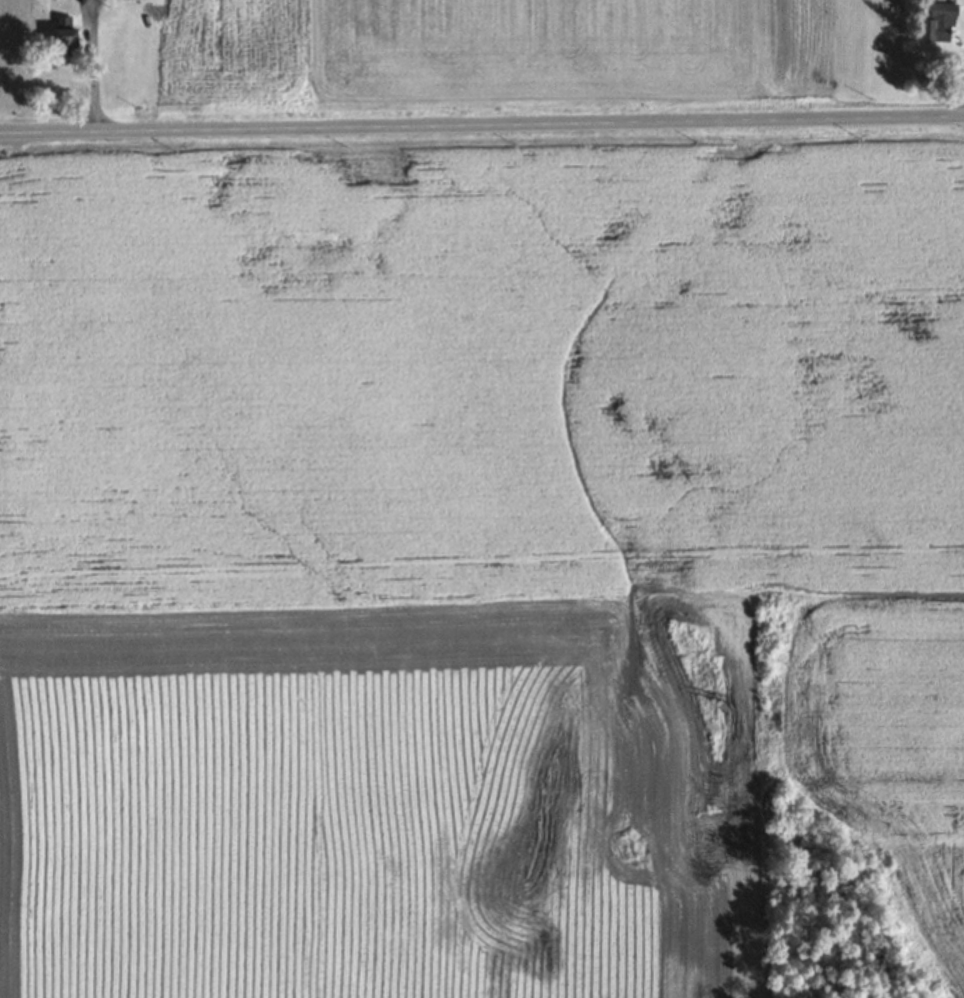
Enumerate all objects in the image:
building: (938, 22)
building: (63, 36)
road: (482, 124)

